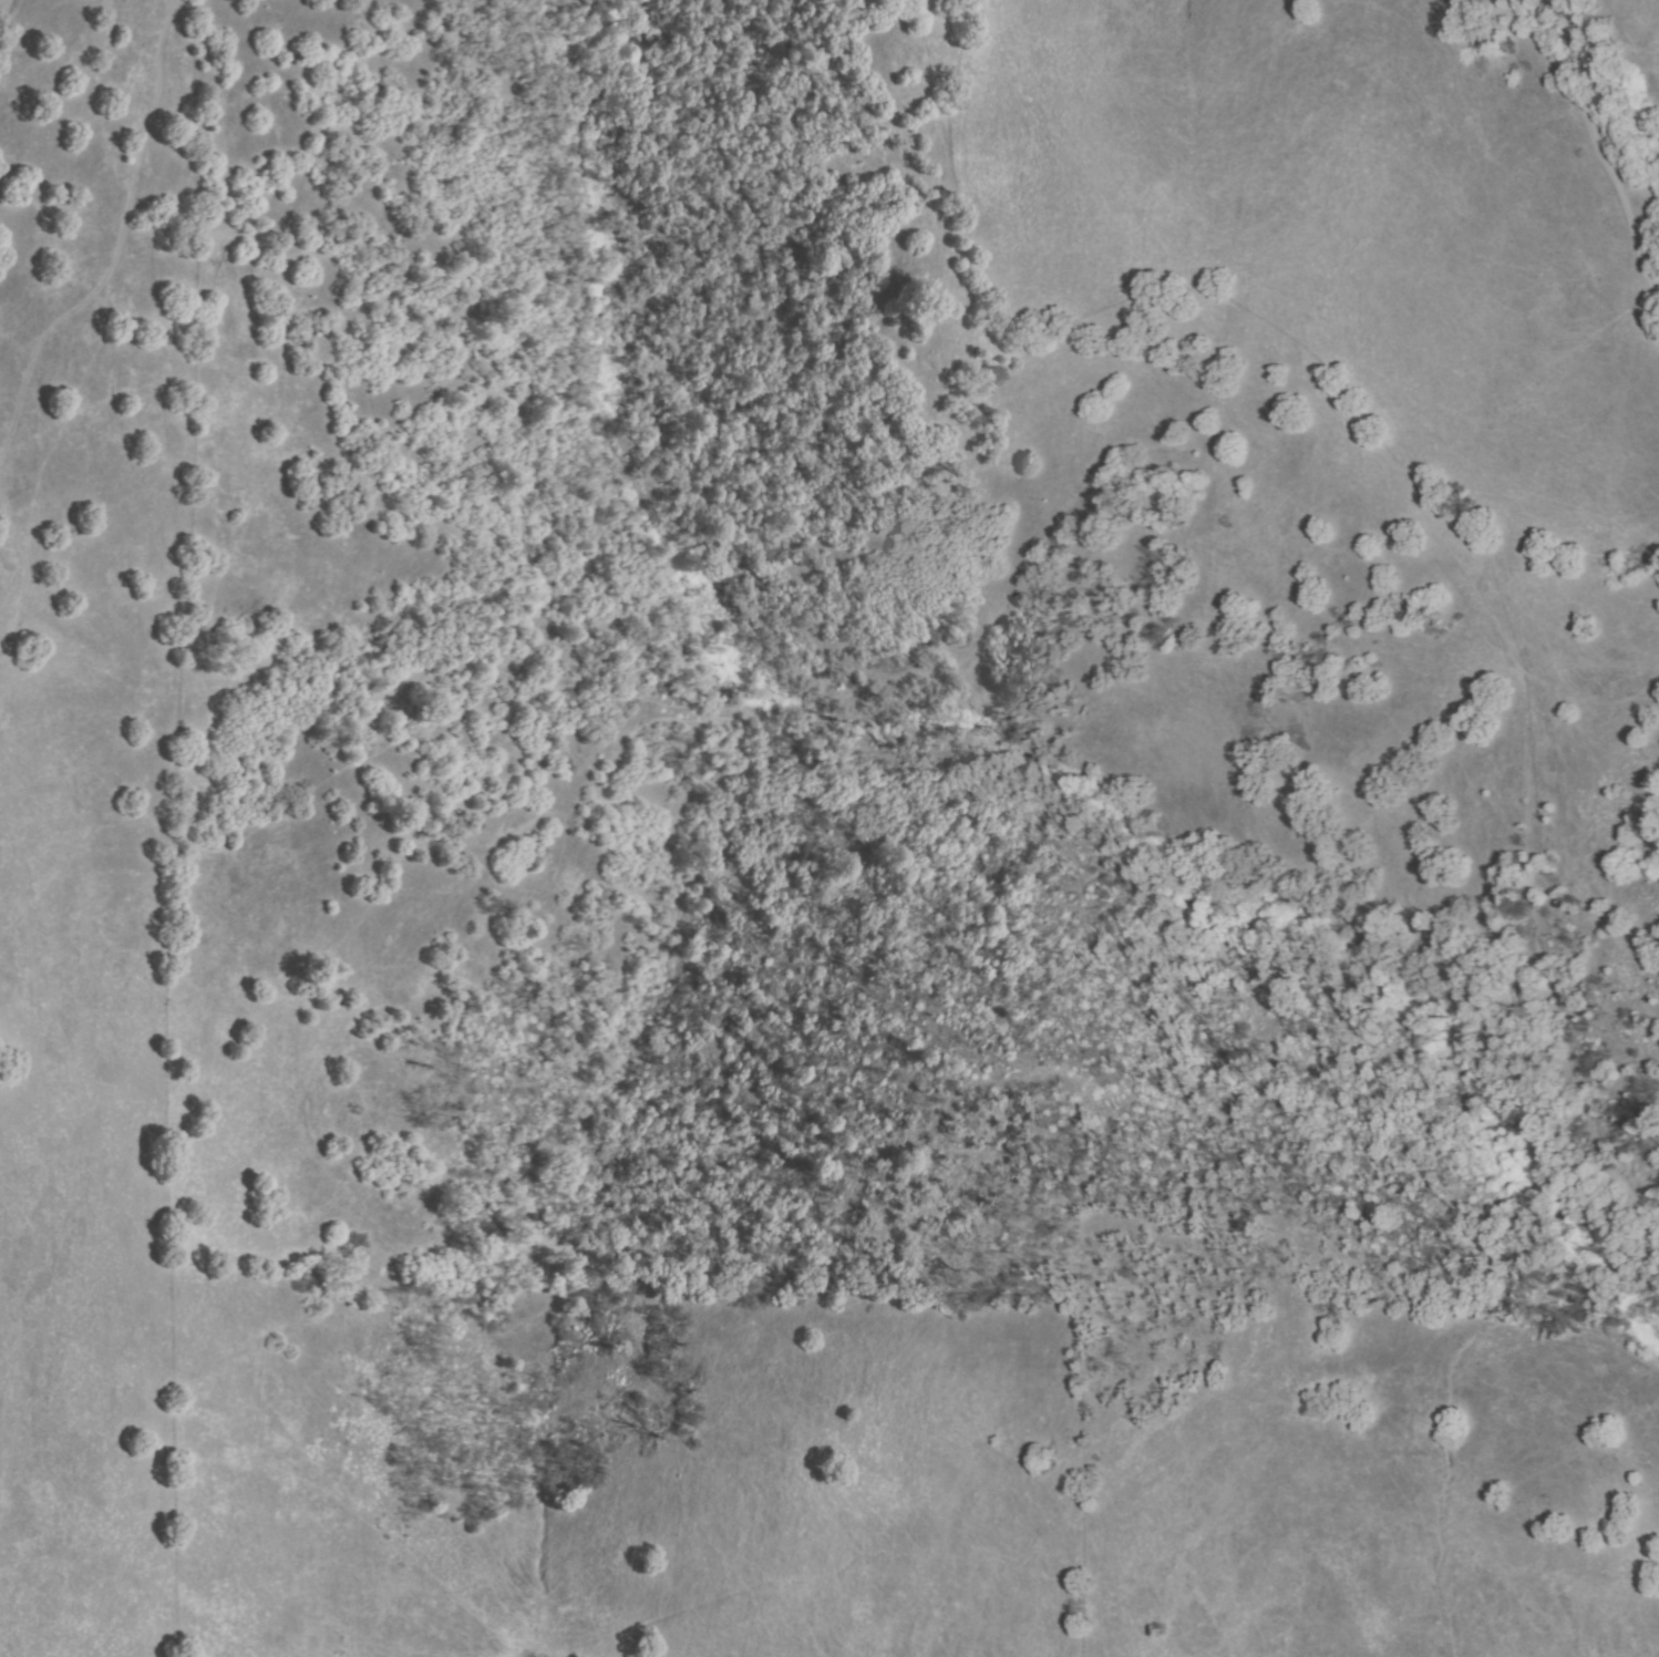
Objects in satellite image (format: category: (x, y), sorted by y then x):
building: (1406, 927)

